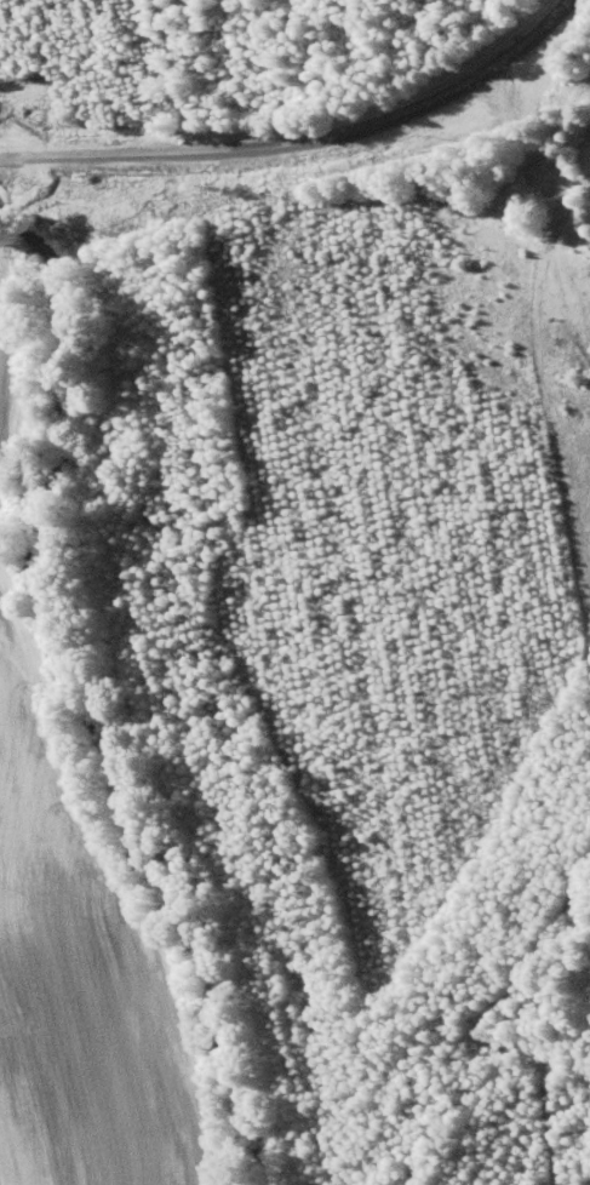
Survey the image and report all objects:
road: (155, 74)
road: (298, 134)

